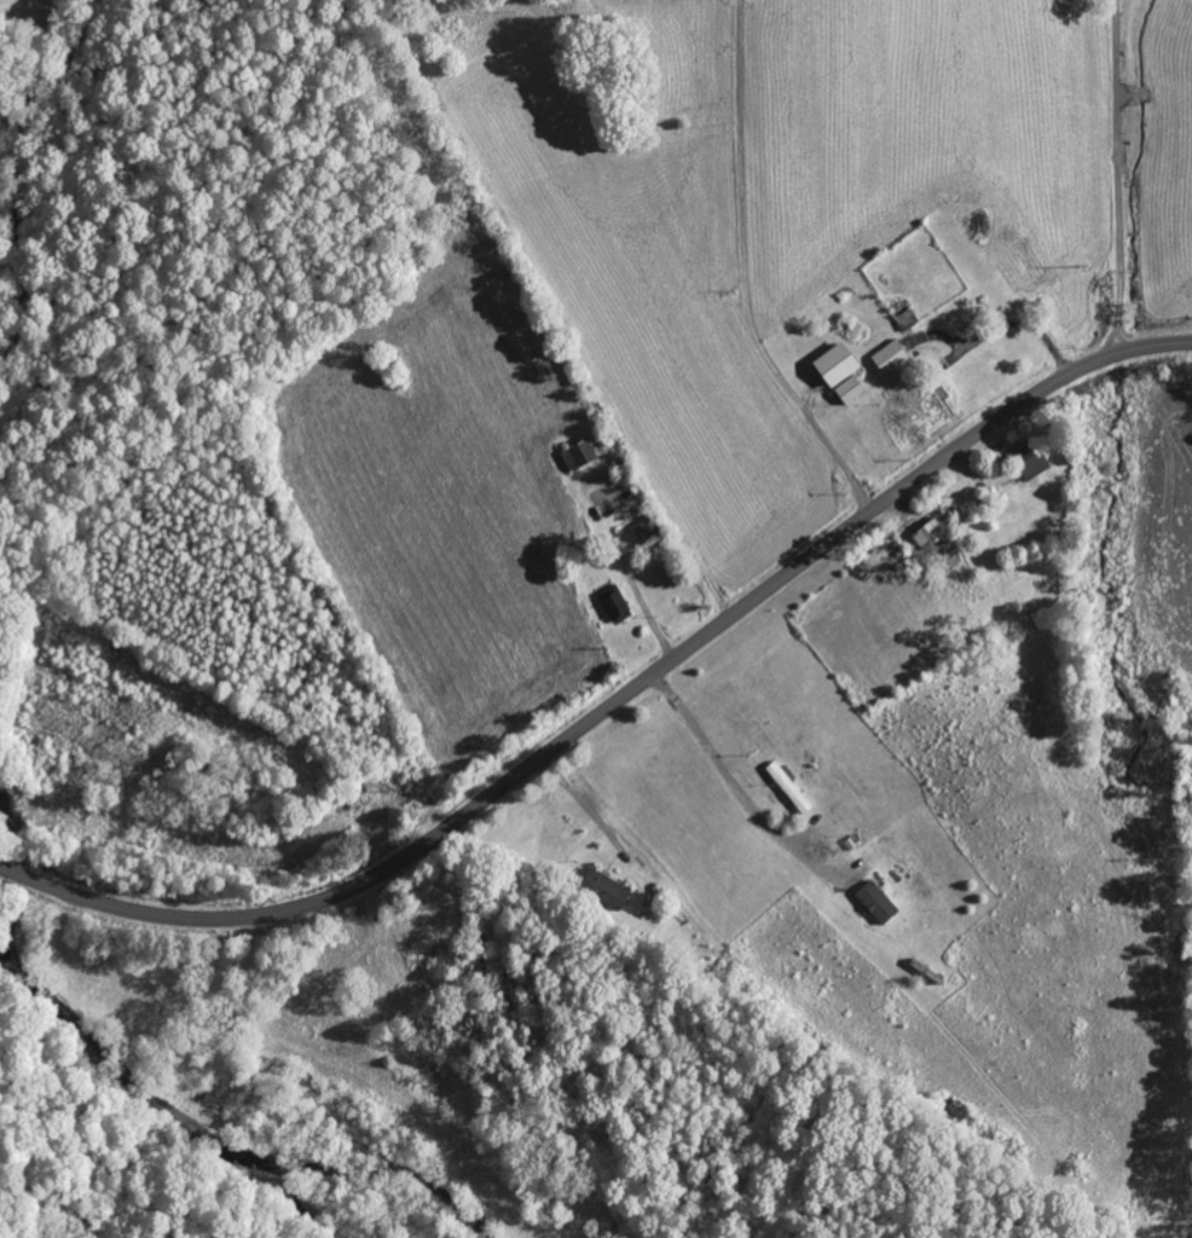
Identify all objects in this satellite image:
road: (1118, 178)
building: (892, 358)
building: (839, 366)
building: (852, 391)
building: (580, 453)
building: (1030, 461)
building: (648, 528)
building: (932, 533)
building: (617, 603)
road: (615, 702)
building: (789, 786)
building: (608, 889)
building: (879, 902)

